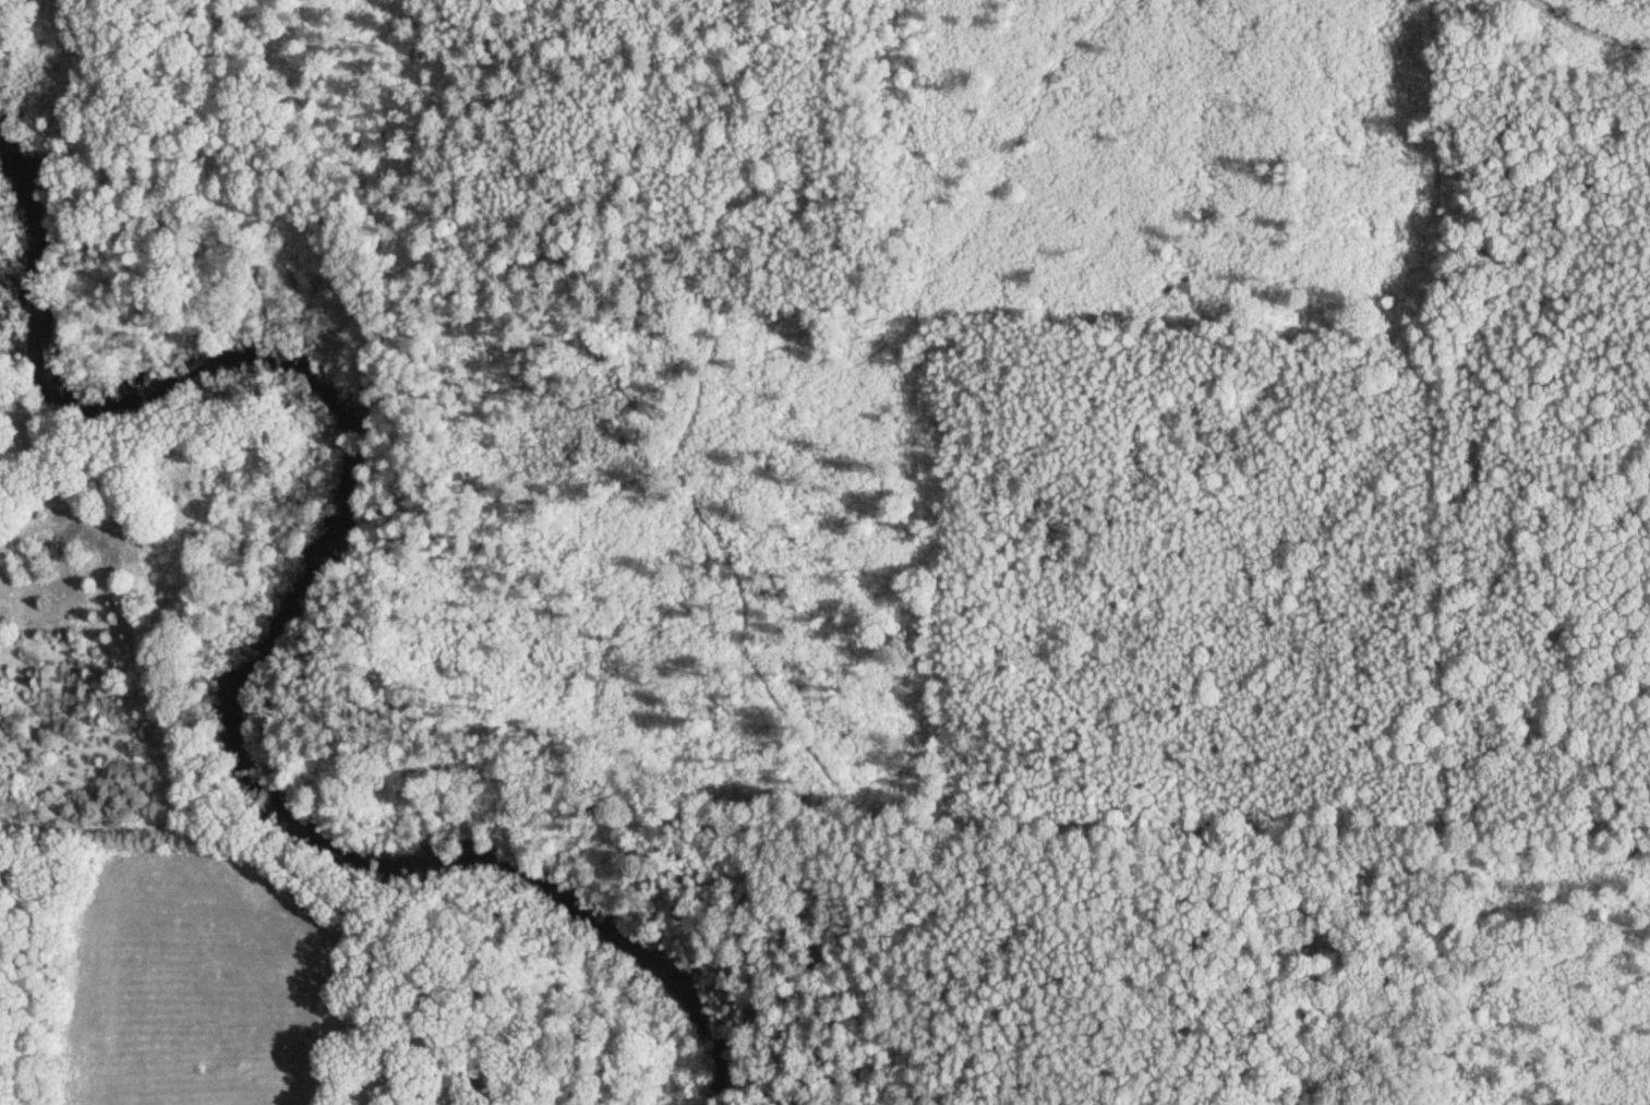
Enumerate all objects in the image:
river: (274, 618)

